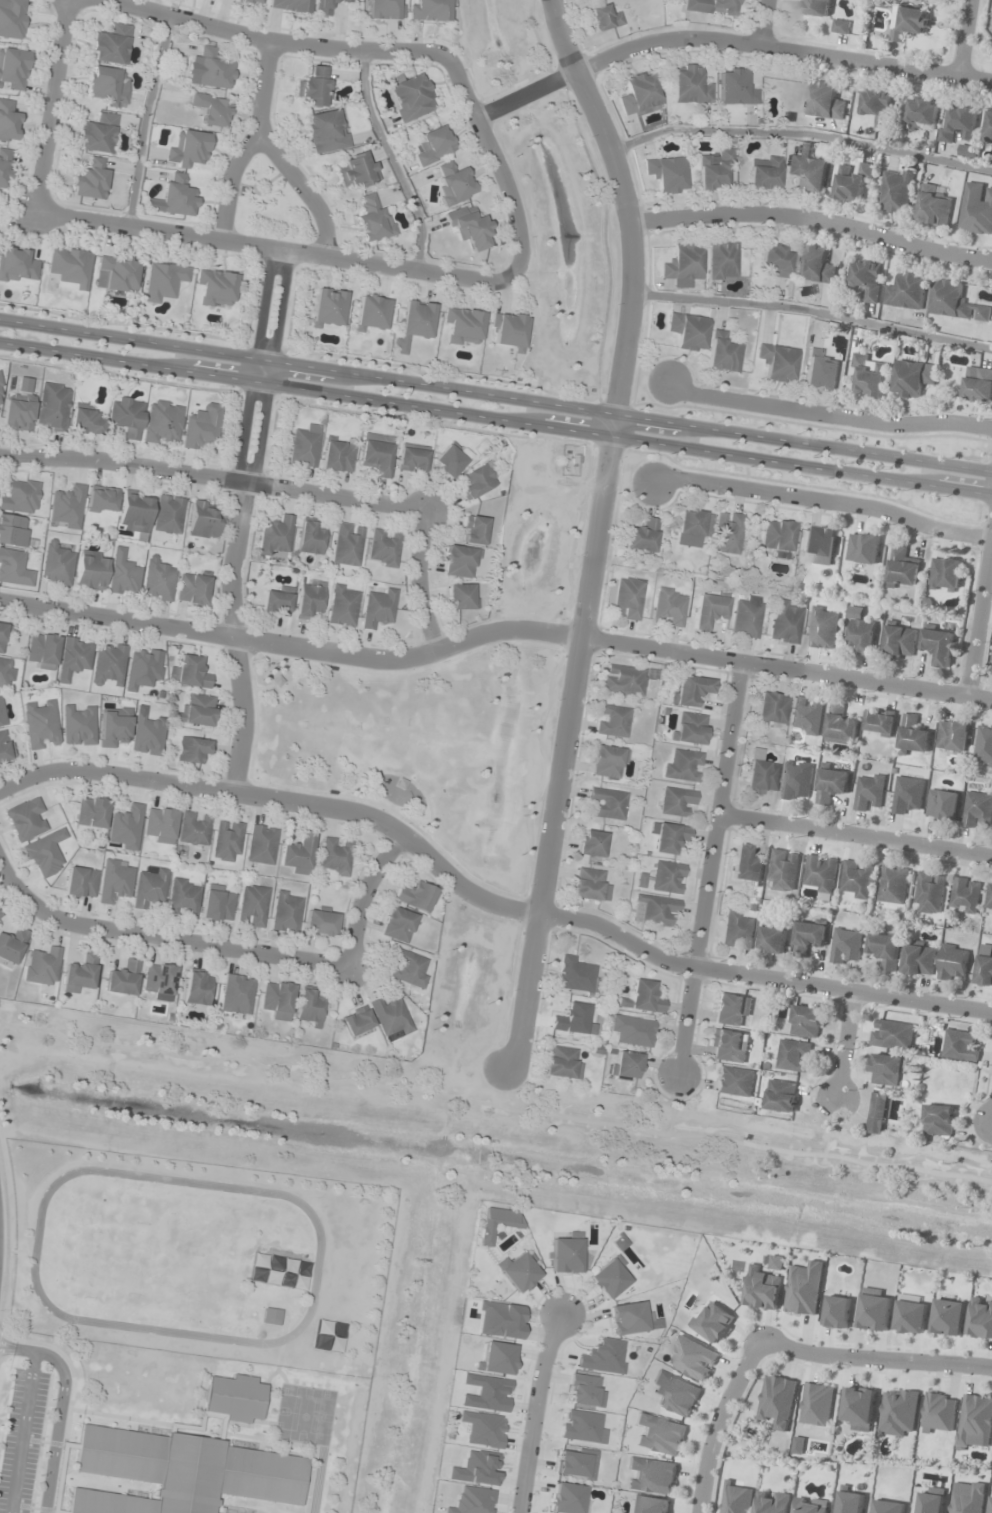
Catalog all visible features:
building: (250, 1)
building: (291, 6)
building: (326, 7)
building: (711, 7)
building: (818, 8)
building: (385, 10)
building: (430, 10)
building: (604, 17)
building: (13, 19)
road: (762, 22)
building: (909, 22)
building: (841, 26)
road: (727, 39)
road: (961, 39)
road: (308, 44)
building: (111, 45)
building: (13, 69)
building: (210, 70)
building: (107, 86)
building: (690, 86)
building: (314, 87)
building: (735, 87)
building: (639, 94)
building: (412, 97)
building: (824, 101)
road: (48, 105)
building: (877, 108)
building: (211, 109)
building: (922, 114)
building: (8, 121)
building: (960, 123)
building: (989, 127)
building: (326, 131)
road: (803, 132)
building: (98, 134)
road: (254, 141)
building: (433, 145)
building: (188, 149)
building: (4, 167)
building: (355, 171)
building: (713, 171)
building: (764, 173)
building: (667, 174)
building: (808, 174)
building: (90, 180)
building: (454, 182)
building: (853, 183)
road: (307, 189)
building: (896, 191)
road: (506, 192)
building: (178, 196)
building: (934, 205)
park: (270, 206)
building: (977, 209)
building: (372, 219)
road: (814, 220)
building: (469, 227)
road: (273, 248)
building: (722, 260)
building: (775, 261)
building: (683, 265)
building: (814, 265)
building: (17, 266)
building: (71, 267)
building: (116, 273)
building: (867, 280)
building: (164, 281)
building: (217, 288)
building: (906, 291)
building: (956, 303)
building: (328, 307)
road: (814, 311)
building: (371, 313)
building: (413, 322)
building: (463, 325)
building: (509, 330)
building: (688, 331)
building: (723, 353)
building: (777, 363)
building: (820, 371)
building: (869, 375)
building: (913, 378)
building: (978, 384)
road: (495, 394)
building: (1, 399)
building: (19, 406)
building: (53, 406)
building: (126, 416)
road: (827, 416)
road: (496, 419)
building: (85, 421)
building: (162, 422)
building: (201, 426)
building: (305, 446)
building: (376, 454)
building: (337, 456)
building: (411, 458)
building: (449, 460)
road: (213, 477)
building: (478, 480)
building: (21, 497)
building: (102, 500)
road: (824, 501)
building: (67, 507)
building: (134, 512)
building: (168, 514)
building: (203, 520)
road: (237, 520)
road: (598, 528)
building: (691, 528)
building: (13, 530)
building: (474, 530)
building: (727, 533)
building: (276, 535)
building: (777, 535)
building: (641, 536)
building: (310, 537)
building: (820, 543)
building: (346, 544)
building: (384, 548)
building: (863, 548)
building: (460, 562)
building: (56, 565)
building: (14, 568)
building: (902, 568)
building: (90, 571)
building: (945, 573)
building: (123, 574)
building: (157, 580)
road: (418, 580)
building: (192, 588)
building: (461, 596)
building: (309, 598)
building: (627, 598)
building: (276, 602)
building: (343, 605)
building: (668, 607)
building: (378, 609)
building: (709, 611)
road: (979, 614)
building: (746, 619)
building: (784, 622)
building: (823, 628)
road: (494, 630)
building: (860, 631)
building: (4, 634)
building: (899, 642)
building: (938, 645)
building: (42, 651)
building: (74, 656)
building: (109, 664)
building: (143, 668)
building: (4, 672)
building: (189, 673)
building: (623, 680)
building: (690, 690)
building: (771, 710)
building: (196, 711)
building: (2, 714)
building: (806, 716)
building: (612, 721)
building: (880, 722)
building: (40, 724)
building: (78, 725)
building: (113, 726)
building: (841, 726)
building: (689, 728)
building: (148, 734)
building: (914, 735)
building: (953, 735)
building: (5, 746)
building: (984, 747)
building: (193, 749)
building: (608, 762)
building: (682, 766)
building: (761, 777)
building: (796, 780)
building: (832, 784)
building: (869, 791)
building: (907, 795)
building: (676, 801)
building: (607, 803)
building: (942, 805)
building: (977, 811)
building: (91, 812)
building: (26, 819)
building: (159, 825)
building: (125, 828)
building: (194, 829)
road: (854, 834)
building: (668, 838)
building: (227, 841)
building: (591, 843)
building: (261, 845)
building: (45, 854)
building: (297, 854)
building: (335, 857)
building: (746, 865)
road: (708, 866)
building: (783, 870)
building: (820, 874)
building: (856, 879)
building: (115, 881)
building: (80, 883)
building: (587, 884)
building: (893, 885)
building: (149, 887)
road: (13, 891)
building: (929, 893)
building: (965, 895)
road: (362, 896)
building: (417, 896)
building: (183, 898)
building: (990, 899)
road: (485, 901)
building: (217, 904)
building: (252, 906)
building: (654, 911)
building: (286, 913)
building: (0, 918)
building: (397, 925)
building: (738, 930)
building: (808, 938)
building: (772, 940)
building: (11, 945)
road: (190, 945)
building: (845, 945)
building: (885, 950)
building: (919, 959)
building: (953, 963)
building: (42, 967)
building: (984, 967)
building: (409, 969)
building: (80, 974)
building: (574, 975)
building: (122, 979)
building: (159, 979)
building: (197, 988)
building: (236, 994)
building: (642, 998)
building: (277, 1000)
building: (309, 1007)
building: (731, 1009)
building: (390, 1018)
building: (570, 1019)
building: (356, 1020)
building: (806, 1021)
building: (633, 1030)
building: (892, 1035)
building: (960, 1045)
building: (729, 1046)
road: (843, 1049)
building: (793, 1056)
building: (562, 1063)
building: (625, 1064)
building: (887, 1070)
building: (734, 1081)
building: (781, 1096)
building: (877, 1113)
building: (938, 1120)
building: (497, 1223)
building: (565, 1252)
building: (777, 1263)
building: (279, 1271)
building: (519, 1271)
building: (610, 1277)
building: (805, 1289)
building: (762, 1290)
building: (875, 1310)
building: (838, 1311)
building: (912, 1314)
building: (270, 1315)
building: (627, 1317)
building: (949, 1317)
building: (981, 1318)
building: (713, 1322)
building: (328, 1336)
building: (692, 1358)
road: (874, 1358)
building: (583, 1390)
building: (675, 1394)
building: (234, 1398)
building: (778, 1401)
building: (817, 1404)
road: (535, 1407)
building: (859, 1408)
building: (899, 1409)
building: (938, 1412)
building: (976, 1421)
road: (715, 1423)
building: (660, 1434)
building: (576, 1463)
building: (180, 1472)
building: (652, 1476)
building: (968, 1496)
building: (736, 1498)
building: (772, 1502)
building: (850, 1502)
building: (930, 1503)
building: (649, 1505)
building: (888, 1506)
building: (991, 1507)

